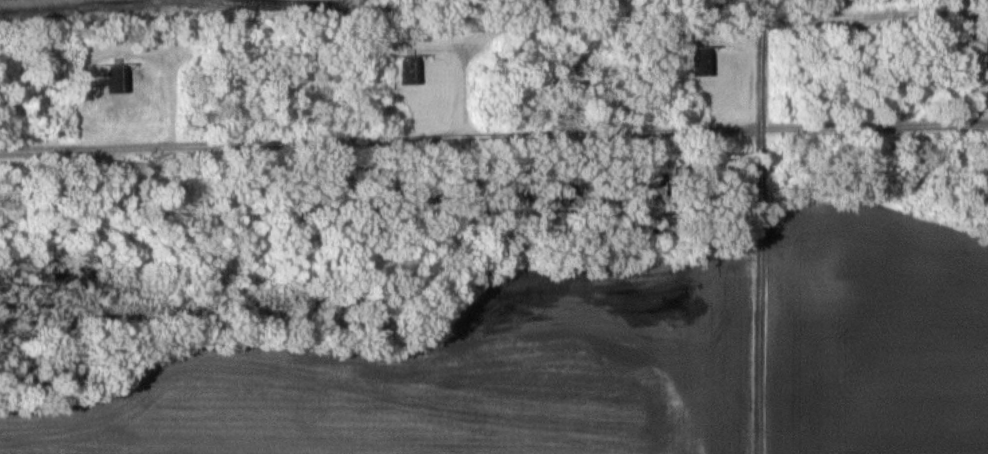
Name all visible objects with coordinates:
building: (116, 78)
road: (494, 141)
road: (766, 227)

